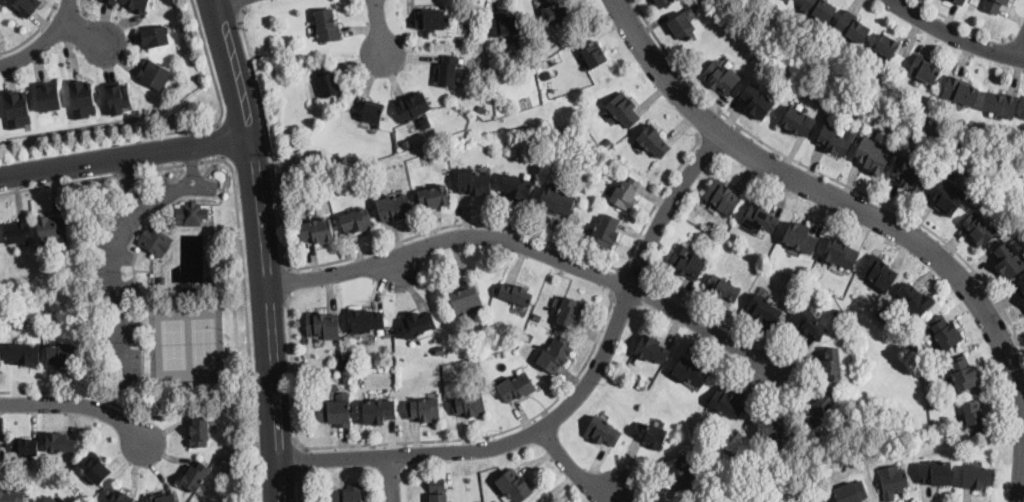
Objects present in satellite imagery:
building: (112, 0)
road: (220, 1)
building: (959, 2)
building: (662, 3)
building: (26, 5)
building: (137, 5)
building: (994, 6)
road: (69, 7)
road: (84, 7)
road: (241, 7)
building: (819, 9)
building: (555, 13)
building: (432, 20)
building: (504, 23)
road: (379, 25)
road: (965, 25)
building: (326, 26)
building: (682, 26)
building: (465, 27)
building: (852, 27)
road: (84, 32)
road: (32, 34)
building: (156, 35)
road: (954, 36)
road: (1017, 39)
road: (43, 40)
building: (517, 41)
building: (886, 46)
building: (286, 54)
building: (538, 54)
road: (1022, 54)
building: (593, 55)
building: (924, 69)
building: (447, 71)
building: (155, 73)
building: (721, 77)
building: (328, 80)
building: (959, 90)
building: (47, 94)
building: (119, 97)
building: (81, 98)
building: (756, 100)
building: (504, 103)
building: (1001, 104)
building: (411, 107)
building: (16, 108)
building: (624, 108)
building: (481, 109)
building: (373, 114)
building: (1023, 114)
building: (1023, 116)
building: (798, 121)
building: (425, 122)
road: (711, 125)
road: (172, 132)
building: (835, 140)
road: (221, 141)
building: (653, 141)
building: (291, 142)
building: (406, 142)
building: (606, 142)
building: (873, 155)
road: (123, 157)
building: (314, 157)
road: (193, 162)
road: (168, 167)
road: (133, 173)
building: (908, 175)
road: (829, 177)
road: (135, 180)
road: (75, 181)
building: (474, 183)
building: (517, 187)
building: (625, 193)
building: (947, 193)
building: (434, 197)
building: (722, 197)
building: (556, 200)
building: (394, 207)
building: (192, 213)
road: (876, 216)
building: (760, 217)
building: (356, 220)
building: (49, 227)
building: (316, 230)
building: (978, 230)
building: (15, 232)
building: (605, 232)
road: (406, 238)
building: (799, 238)
building: (154, 240)
road: (534, 247)
road: (263, 249)
building: (840, 254)
road: (112, 257)
building: (1007, 261)
building: (686, 264)
road: (636, 273)
building: (879, 273)
road: (614, 279)
building: (161, 280)
building: (209, 280)
road: (289, 281)
building: (204, 287)
building: (723, 287)
building: (168, 290)
building: (1021, 290)
building: (191, 291)
building: (516, 294)
building: (467, 299)
building: (913, 302)
building: (1023, 306)
building: (763, 309)
building: (567, 312)
road: (704, 313)
building: (838, 313)
road: (247, 316)
building: (537, 316)
building: (367, 322)
building: (416, 324)
building: (809, 324)
building: (322, 325)
building: (945, 331)
building: (440, 349)
building: (651, 349)
building: (348, 351)
building: (0, 354)
building: (24, 354)
building: (62, 354)
building: (553, 354)
building: (349, 358)
building: (340, 363)
building: (349, 364)
building: (832, 364)
building: (689, 372)
building: (963, 373)
building: (345, 379)
building: (515, 387)
building: (334, 388)
road: (66, 392)
building: (726, 402)
road: (573, 403)
building: (469, 404)
road: (77, 405)
building: (423, 409)
building: (817, 409)
building: (378, 411)
building: (334, 412)
building: (974, 417)
building: (773, 428)
building: (199, 432)
building: (602, 432)
building: (651, 434)
road: (420, 440)
building: (59, 442)
building: (24, 446)
building: (0, 448)
road: (405, 454)
road: (300, 459)
building: (94, 468)
road: (575, 470)
building: (681, 472)
building: (934, 474)
building: (194, 476)
building: (977, 477)
road: (396, 479)
building: (892, 481)
road: (403, 482)
building: (513, 485)
road: (301, 490)
building: (437, 490)
building: (850, 492)
building: (348, 493)
building: (11, 496)
building: (119, 496)
building: (162, 498)
building: (50, 499)
building: (817, 500)
building: (478, 501)
building: (661, 501)

